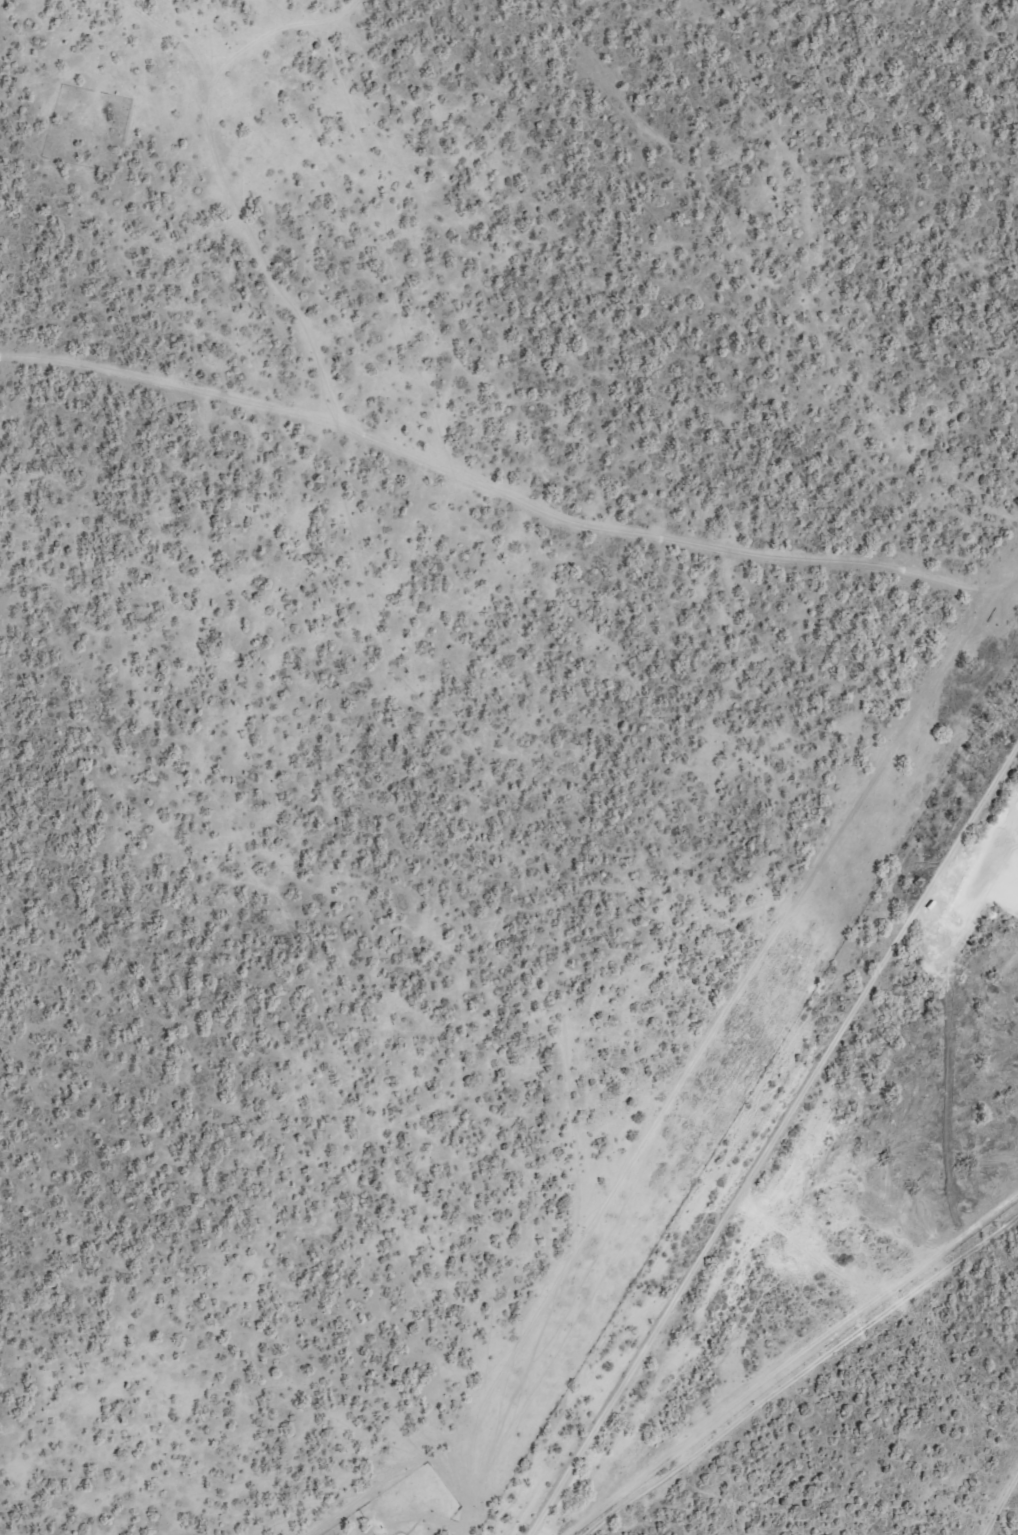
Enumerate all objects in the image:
road: (235, 52)
road: (468, 513)
railway: (778, 1151)

